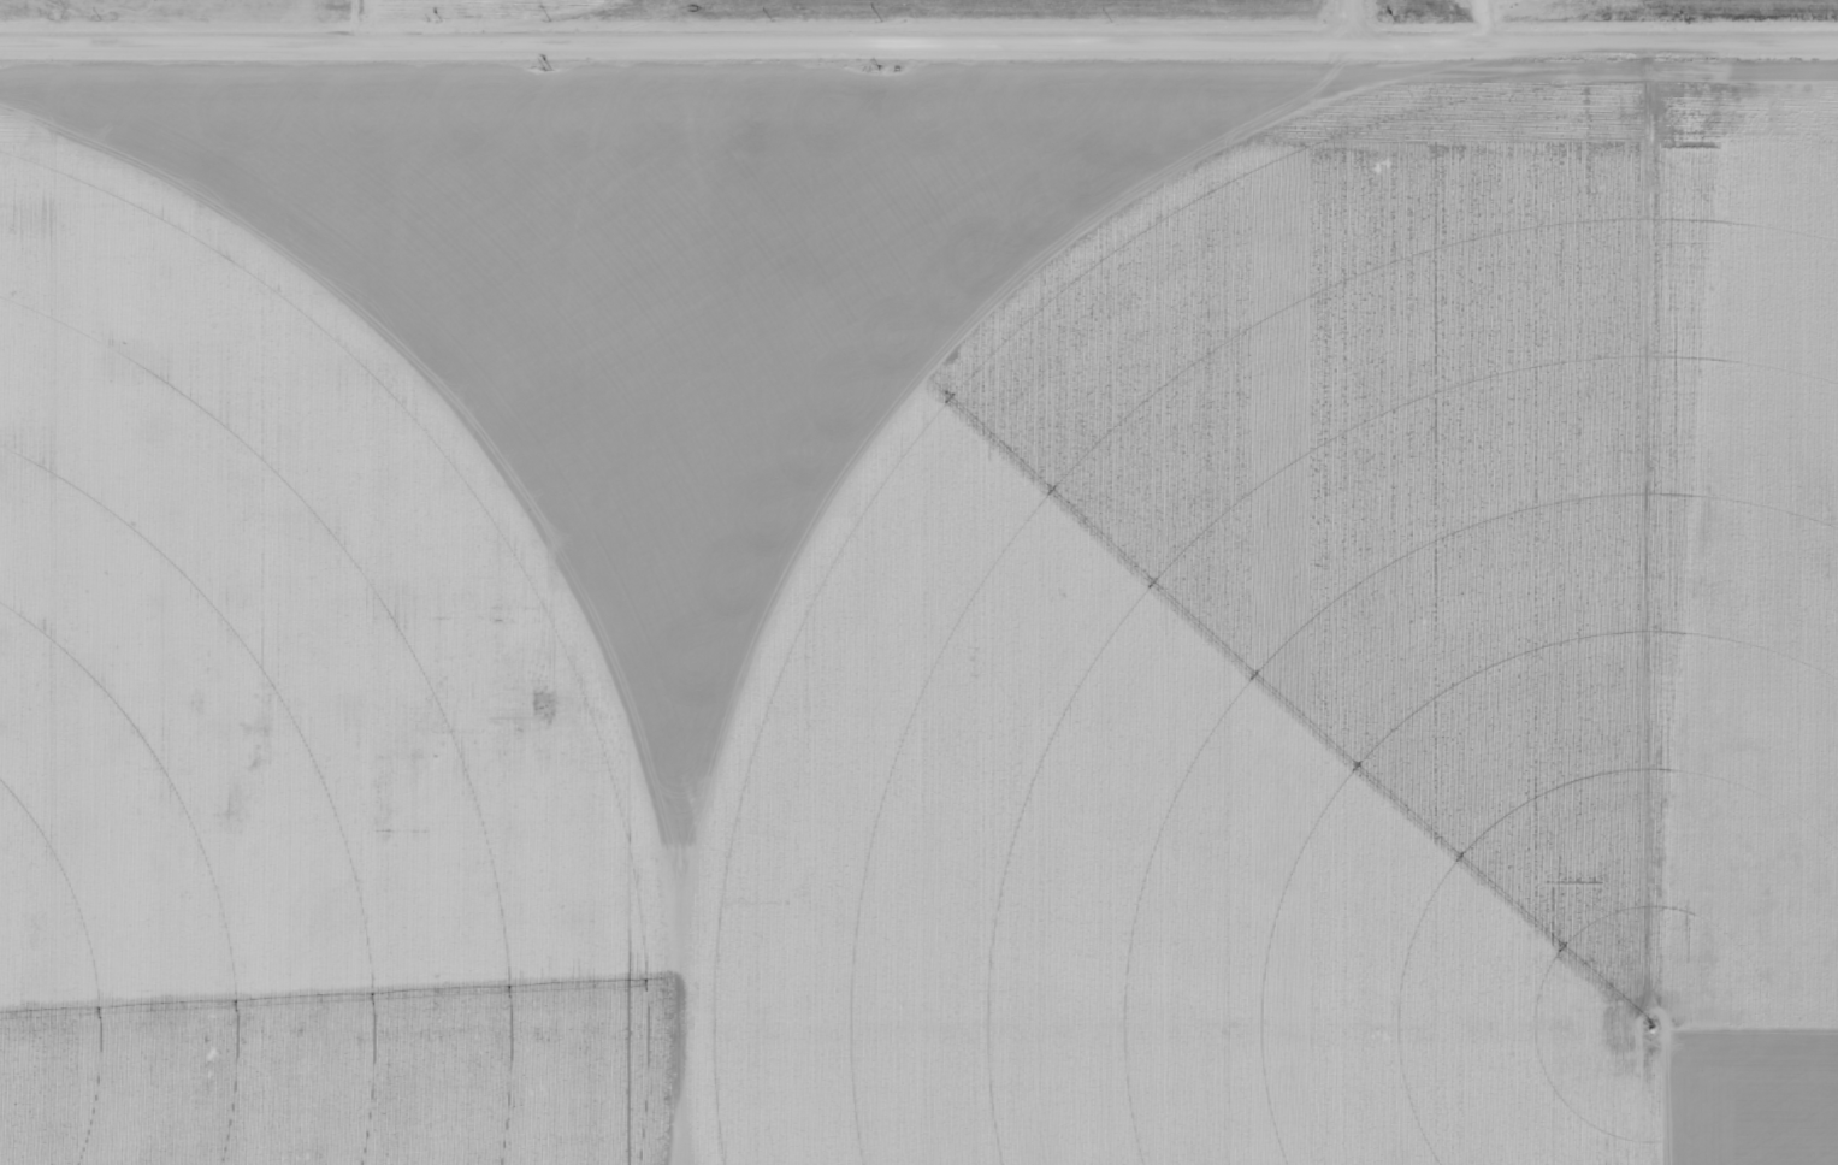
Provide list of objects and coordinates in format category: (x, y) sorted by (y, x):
road: (1352, 5)
road: (918, 19)

